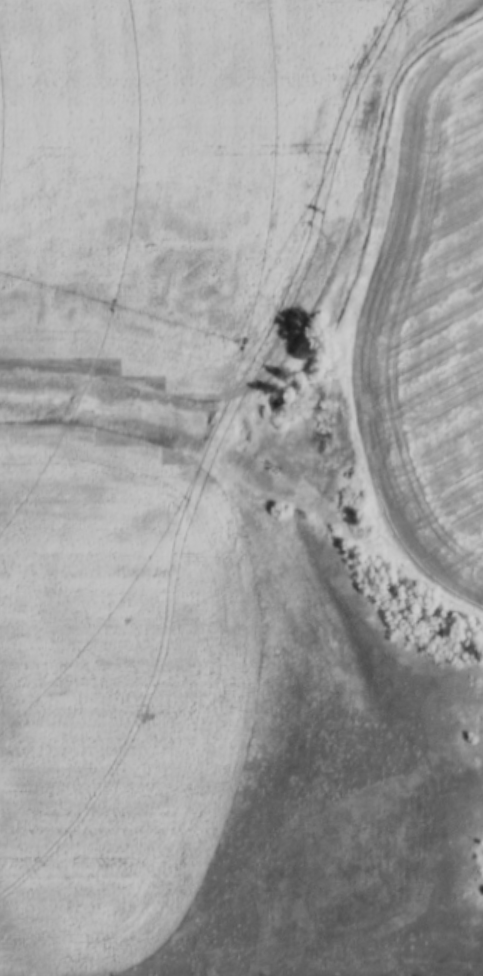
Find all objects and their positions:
road: (267, 190)

